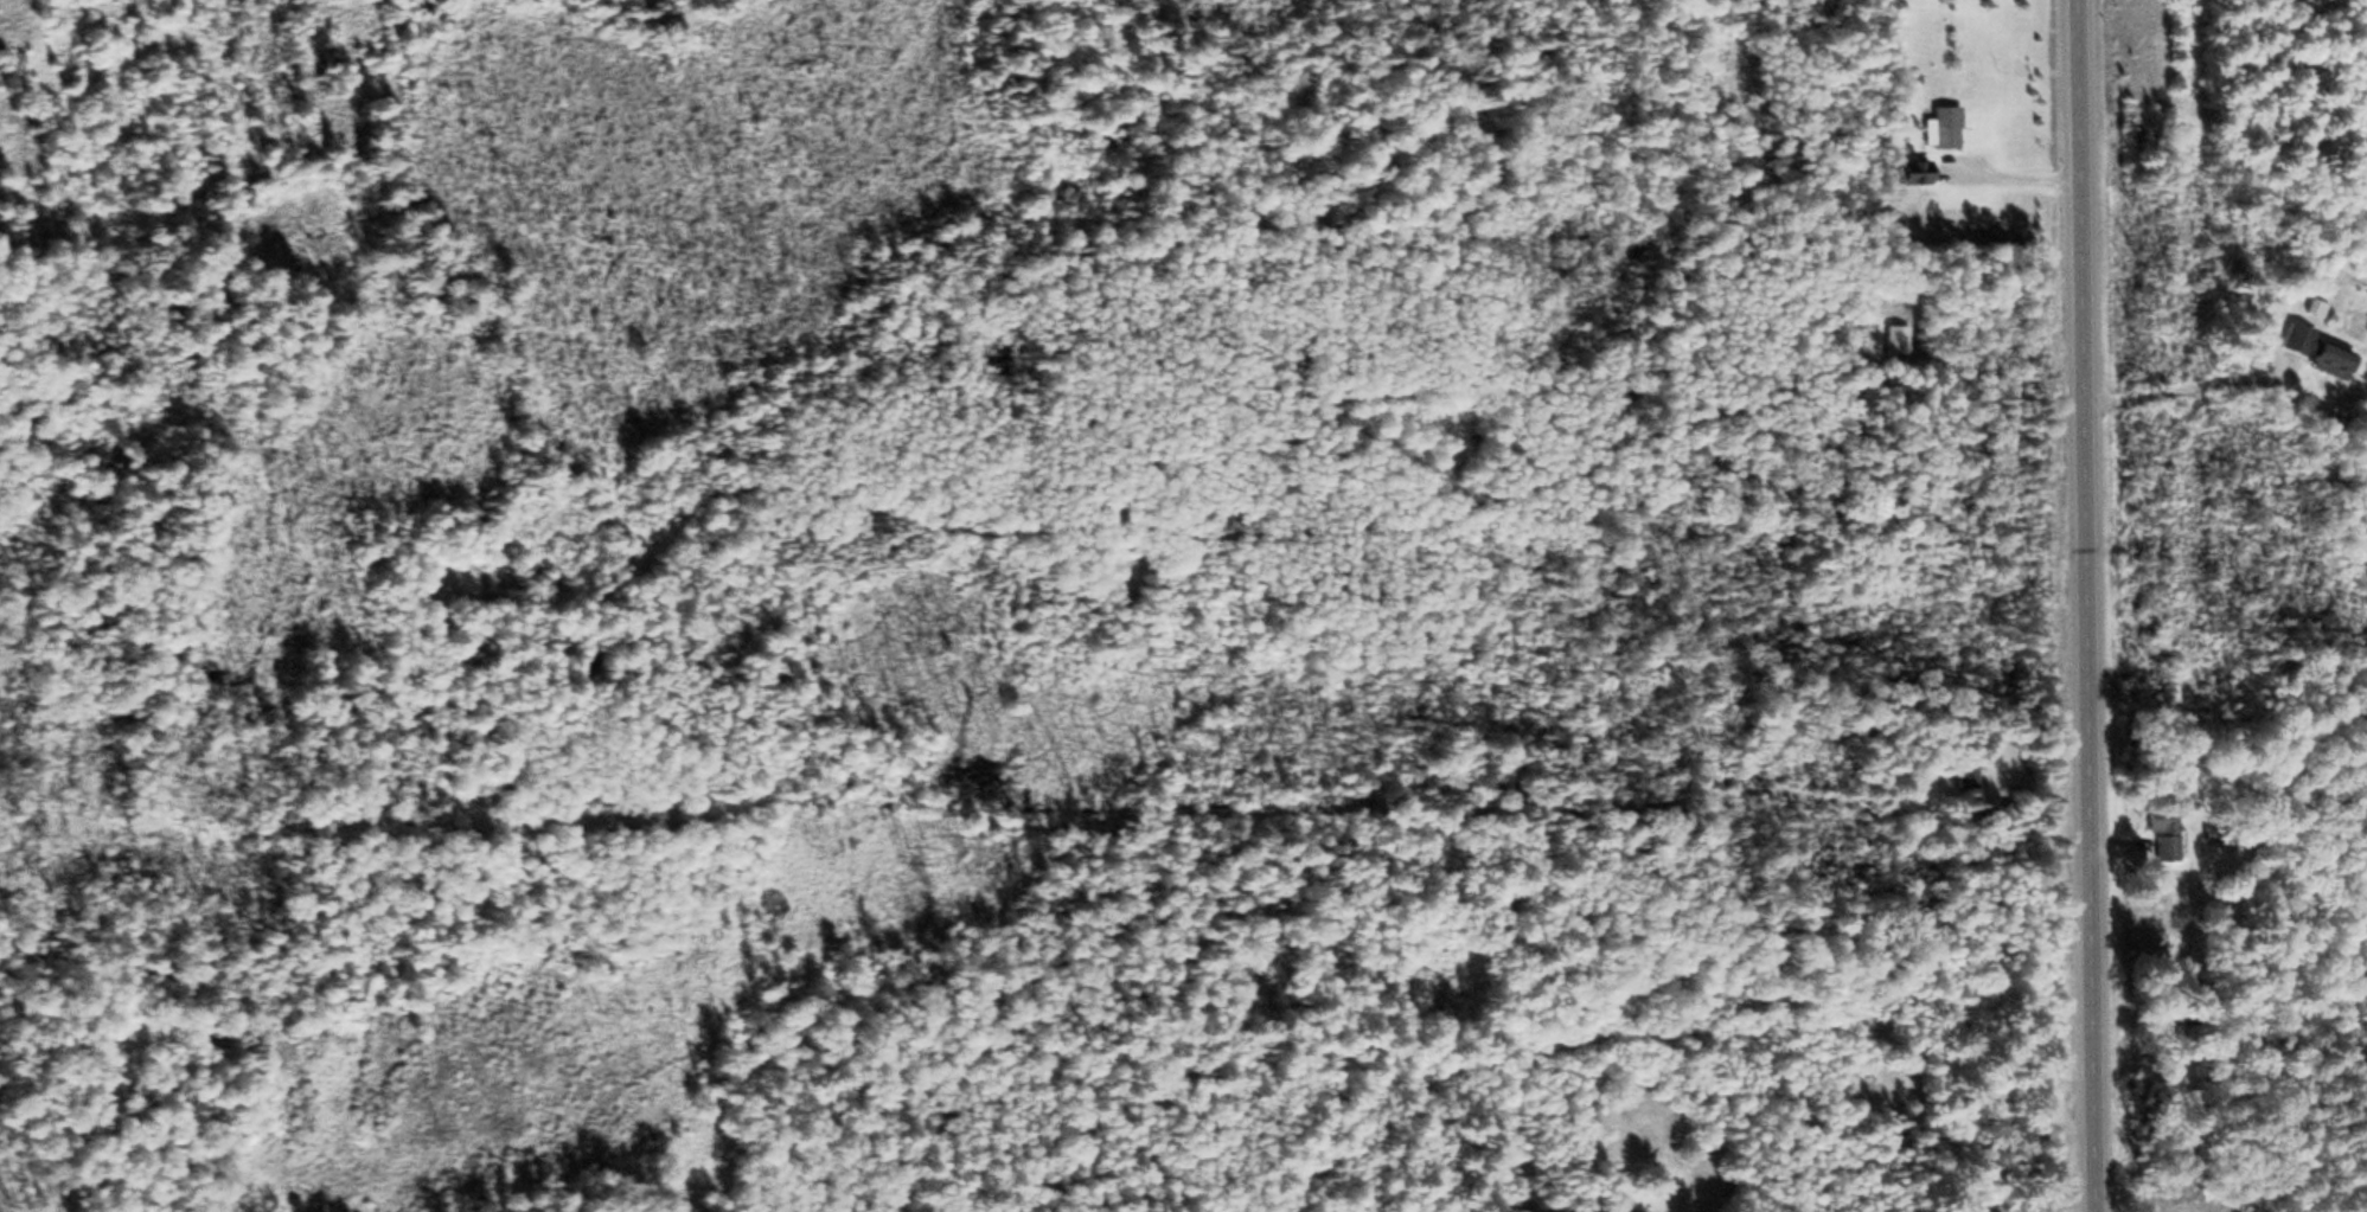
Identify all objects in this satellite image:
building: (1946, 128)
building: (1919, 173)
building: (1949, 200)
building: (1901, 230)
building: (2320, 308)
building: (2339, 361)
road: (2091, 605)
building: (1979, 776)
building: (2170, 846)

